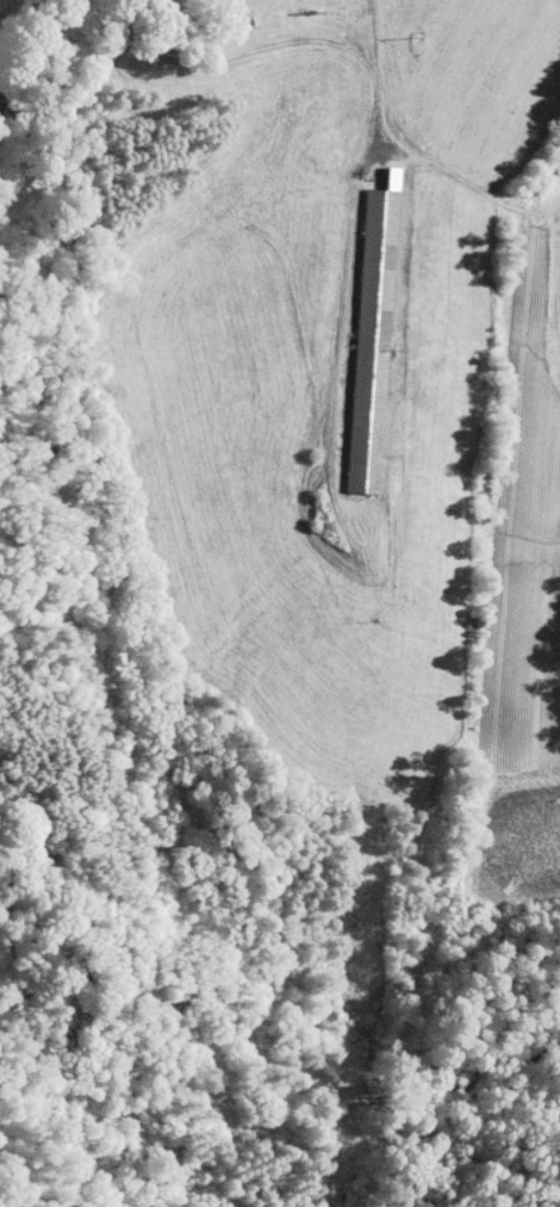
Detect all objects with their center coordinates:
road: (371, 81)
building: (357, 328)

